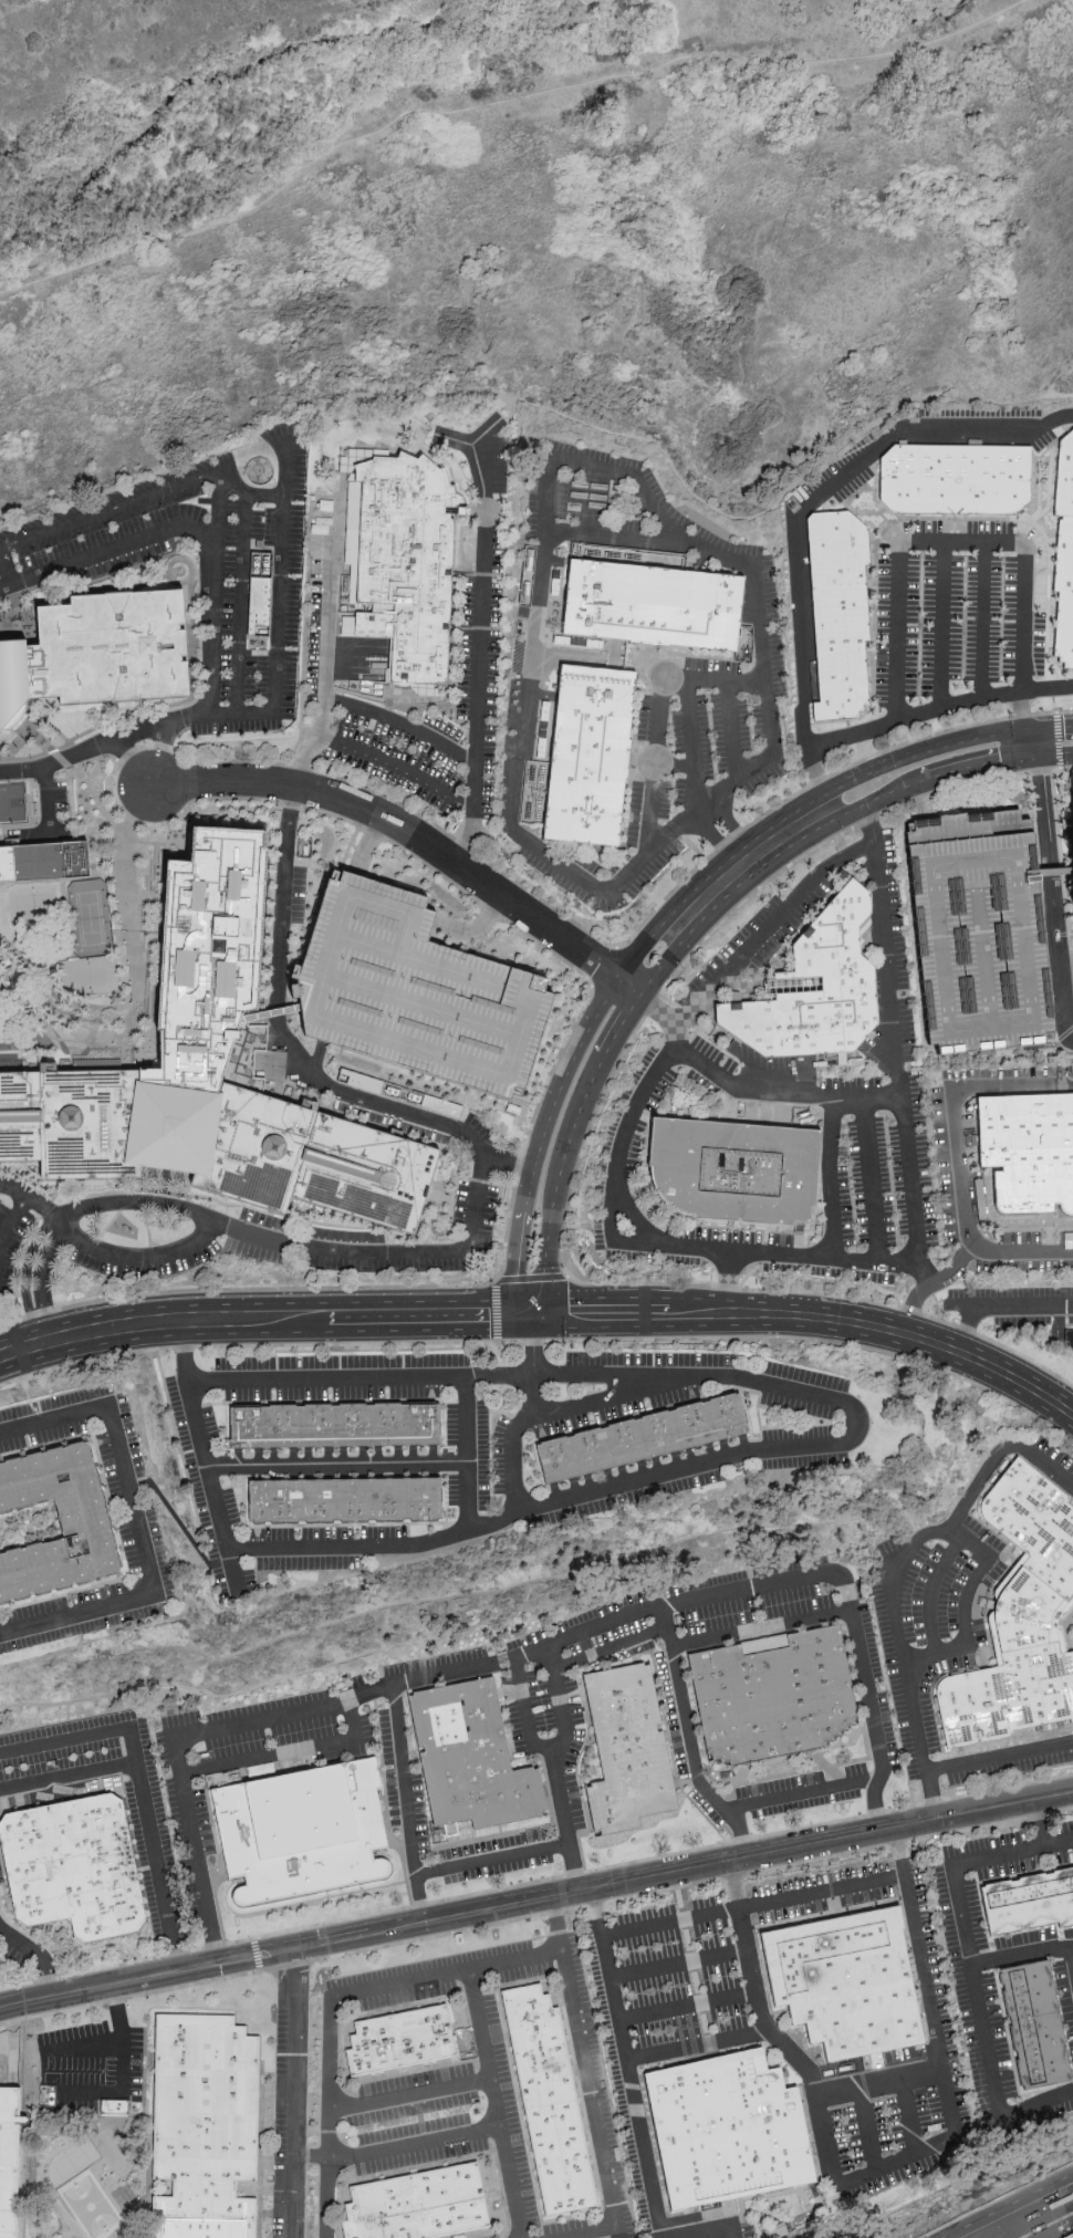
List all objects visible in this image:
road: (496, 104)
road: (1059, 374)
road: (565, 415)
road: (488, 429)
parking lot: (1041, 434)
parking lot: (840, 475)
building: (955, 479)
road: (825, 490)
road: (246, 495)
road: (216, 498)
road: (543, 506)
parking lot: (961, 532)
road: (617, 539)
road: (944, 543)
road: (178, 547)
road: (106, 552)
building: (1064, 554)
building: (406, 564)
road: (6, 571)
road: (164, 571)
parking lot: (200, 571)
road: (196, 573)
building: (260, 589)
road: (481, 604)
building: (652, 604)
road: (239, 605)
road: (275, 612)
building: (838, 615)
parking lot: (1023, 616)
parking lot: (982, 618)
road: (326, 620)
parking lot: (940, 622)
road: (983, 622)
road: (187, 624)
road: (940, 626)
parking lot: (896, 627)
road: (188, 637)
building: (97, 648)
road: (188, 654)
road: (160, 705)
road: (938, 709)
road: (1020, 710)
road: (659, 714)
road: (403, 725)
road: (1052, 726)
traffic signals: (1033, 728)
traffic signals: (1023, 729)
road: (732, 730)
road: (22, 739)
road: (1058, 740)
road: (42, 741)
road: (9, 745)
road: (689, 748)
road: (926, 751)
road: (86, 752)
road: (157, 753)
building: (588, 754)
road: (97, 757)
traffic signals: (1036, 757)
parking lot: (0, 759)
road: (62, 759)
road: (131, 760)
road: (397, 764)
road: (1061, 769)
road: (951, 773)
road: (817, 779)
road: (213, 799)
building: (12, 802)
park: (12, 802)
road: (702, 806)
road: (48, 814)
road: (125, 836)
road: (416, 837)
road: (157, 842)
road: (365, 845)
building: (304, 847)
building: (1071, 847)
road: (754, 860)
building: (43, 861)
road: (1053, 872)
road: (1062, 872)
road: (1050, 883)
park: (32, 904)
park: (87, 917)
road: (473, 930)
building: (975, 937)
parking lot: (975, 937)
road: (279, 940)
road: (752, 941)
road: (1072, 953)
park: (87, 976)
building: (814, 988)
building: (414, 991)
parking garage: (414, 991)
road: (80, 1003)
road: (100, 1012)
road: (269, 1013)
road: (97, 1020)
road: (53, 1033)
road: (3, 1045)
road: (576, 1050)
road: (896, 1050)
road: (316, 1063)
road: (275, 1065)
building: (209, 1075)
road: (739, 1089)
building: (398, 1093)
road: (951, 1103)
road: (580, 1104)
road: (404, 1111)
road: (715, 1113)
parking lot: (390, 1121)
parking lot: (477, 1127)
road: (827, 1139)
road: (579, 1157)
building: (1025, 1158)
road: (508, 1163)
building: (732, 1170)
road: (869, 1178)
road: (28, 1199)
road: (626, 1208)
road: (10, 1220)
road: (206, 1221)
road: (55, 1227)
parking lot: (10, 1238)
road: (644, 1243)
parking lot: (332, 1245)
road: (1023, 1247)
road: (383, 1253)
road: (522, 1258)
road: (727, 1279)
road: (934, 1284)
parking lot: (1018, 1292)
traffic signals: (532, 1305)
road: (998, 1309)
road: (494, 1311)
road: (263, 1312)
road: (813, 1314)
parking lot: (1027, 1321)
building: (1067, 1340)
road: (546, 1341)
road: (362, 1377)
building: (337, 1432)
road: (855, 1434)
building: (645, 1445)
road: (209, 1453)
road: (470, 1454)
parking lot: (1051, 1462)
road: (342, 1465)
building: (347, 1507)
road: (138, 1523)
building: (84, 1524)
road: (183, 1527)
road: (480, 1528)
road: (896, 1574)
parking lot: (791, 1589)
road: (930, 1593)
parking lot: (711, 1603)
road: (962, 1609)
building: (1019, 1618)
road: (761, 1627)
parking lot: (602, 1630)
parking lot: (869, 1640)
parking lot: (940, 1644)
road: (610, 1648)
road: (523, 1654)
parking lot: (434, 1661)
parking lot: (355, 1682)
building: (774, 1695)
road: (522, 1710)
parking lot: (670, 1714)
parking lot: (546, 1725)
parking lot: (887, 1730)
parking lot: (282, 1731)
road: (689, 1739)
building: (625, 1747)
road: (135, 1749)
road: (287, 1750)
building: (470, 1757)
road: (998, 1760)
road: (551, 1763)
building: (261, 1770)
parking lot: (402, 1779)
parking lot: (800, 1792)
road: (803, 1794)
parking lot: (185, 1802)
road: (407, 1804)
parking lot: (706, 1809)
road: (1036, 1823)
building: (301, 1829)
road: (492, 1855)
parking lot: (494, 1856)
road: (160, 1866)
building: (74, 1867)
parking lot: (158, 1874)
parking lot: (1, 1875)
road: (535, 1882)
parking lot: (821, 1893)
road: (536, 1901)
building: (1028, 1903)
road: (752, 1906)
road: (536, 1916)
road: (1021, 1950)
road: (40, 1953)
road: (1071, 1955)
parking lot: (14, 1956)
road: (677, 1963)
parking lot: (928, 1969)
road: (971, 1969)
parking lot: (991, 1971)
parking lot: (438, 1978)
building: (843, 1980)
parking lot: (1065, 1999)
road: (332, 2000)
road: (686, 2006)
road: (114, 2012)
building: (1033, 2018)
parking lot: (664, 2024)
building: (399, 2041)
road: (697, 2046)
road: (121, 2059)
road: (625, 2063)
road: (585, 2068)
road: (879, 2081)
road: (293, 2093)
road: (409, 2095)
parking lot: (413, 2096)
building: (548, 2098)
road: (494, 2104)
parking lot: (502, 2112)
road: (907, 2115)
parking lot: (290, 2123)
building: (204, 2126)
building: (725, 2128)
road: (866, 2128)
road: (146, 2135)
parking lot: (417, 2145)
road: (397, 2147)
road: (38, 2158)
building: (8, 2159)
park: (104, 2165)
road: (879, 2168)
road: (148, 2186)
road: (107, 2190)
park: (84, 2205)
road: (1006, 2205)
building: (418, 2206)
road: (1036, 2215)
road: (67, 2216)
parking lot: (615, 2219)
road: (1000, 2225)
parking lot: (1019, 2226)
road: (709, 2230)
road: (590, 2231)
road: (593, 2235)
road: (951, 2235)
building: (1067, 2235)
parking lot: (490, 2237)

